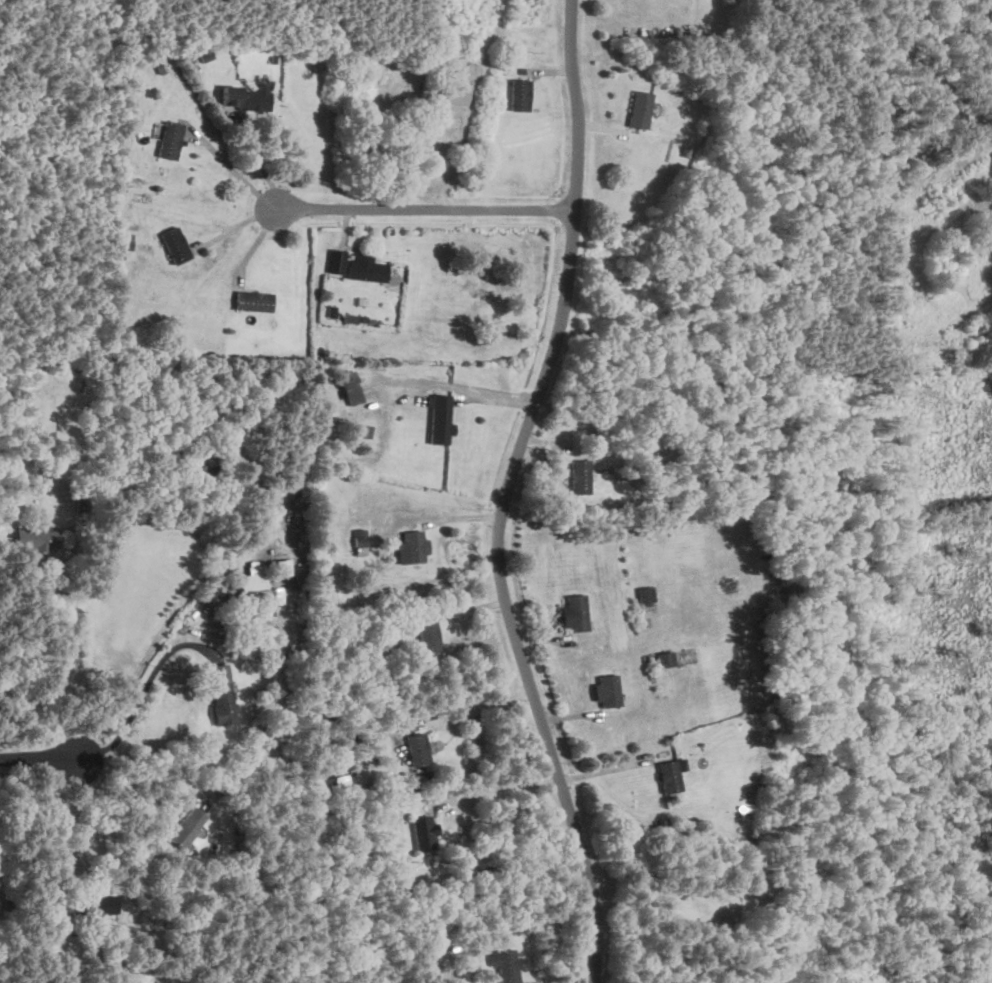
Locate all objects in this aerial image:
building: (443, 91)
building: (520, 94)
building: (245, 97)
building: (639, 108)
building: (169, 139)
road: (465, 150)
road: (232, 168)
road: (423, 212)
building: (122, 243)
building: (174, 244)
building: (365, 267)
building: (253, 300)
building: (349, 387)
building: (437, 424)
building: (363, 430)
building: (195, 468)
building: (577, 477)
road: (507, 494)
building: (33, 540)
building: (358, 542)
building: (412, 547)
building: (281, 567)
building: (257, 587)
building: (643, 594)
building: (572, 613)
building: (426, 635)
road: (143, 656)
building: (662, 659)
road: (46, 668)
building: (604, 690)
road: (145, 691)
building: (220, 703)
building: (415, 749)
road: (41, 759)
building: (666, 776)
road: (141, 777)
road: (498, 787)
building: (181, 827)
building: (422, 832)
road: (57, 836)
building: (94, 905)
building: (502, 965)

